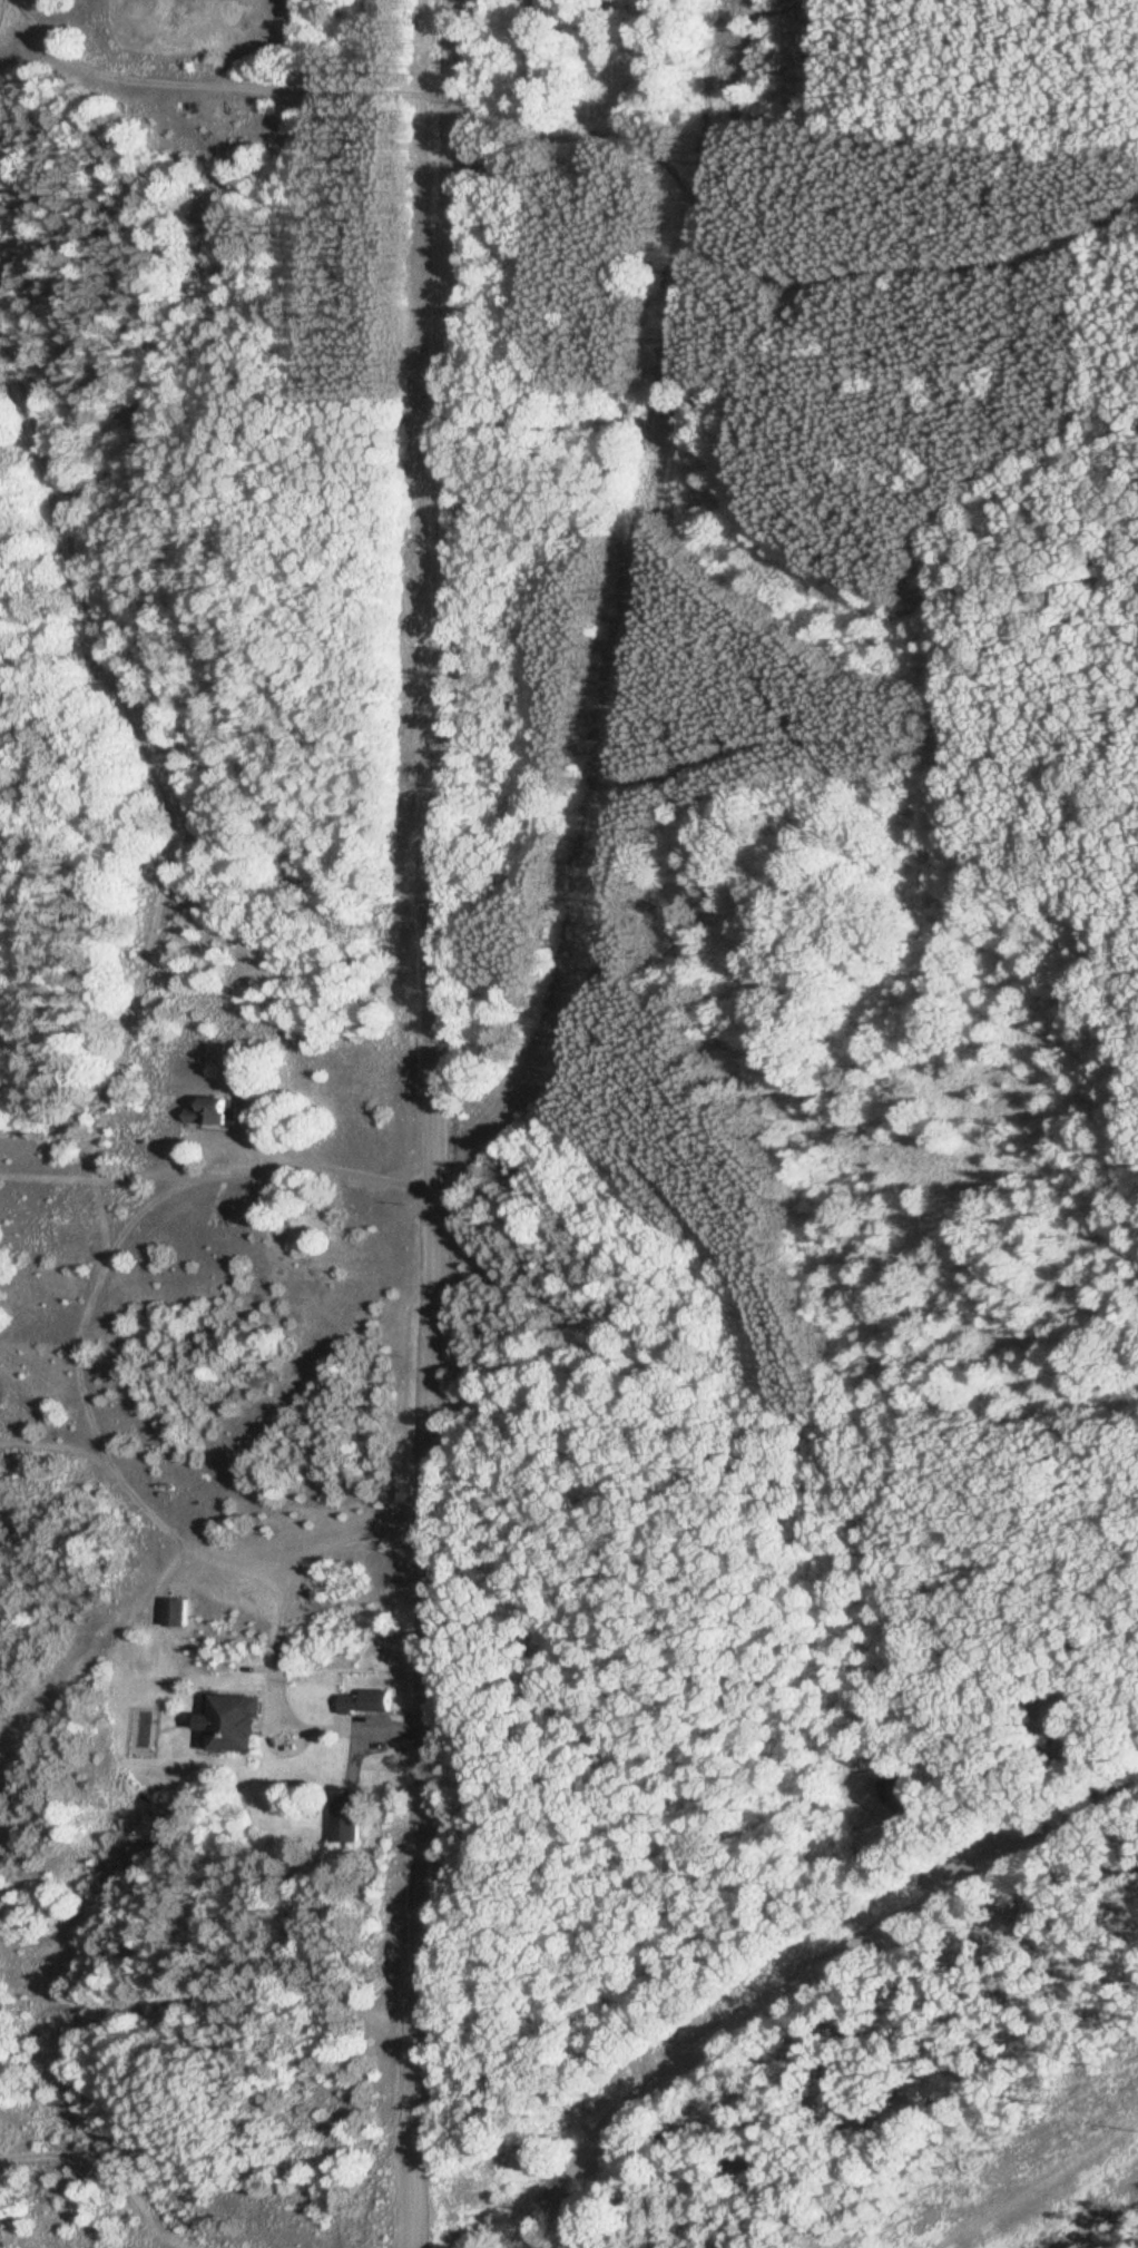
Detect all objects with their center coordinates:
road: (216, 85)
building: (216, 1111)
road: (431, 1123)
building: (175, 1611)
building: (1082, 1689)
building: (365, 1701)
building: (233, 1722)
building: (1081, 1754)
building: (900, 1794)
building: (349, 1814)
building: (879, 1848)
road: (797, 1981)

